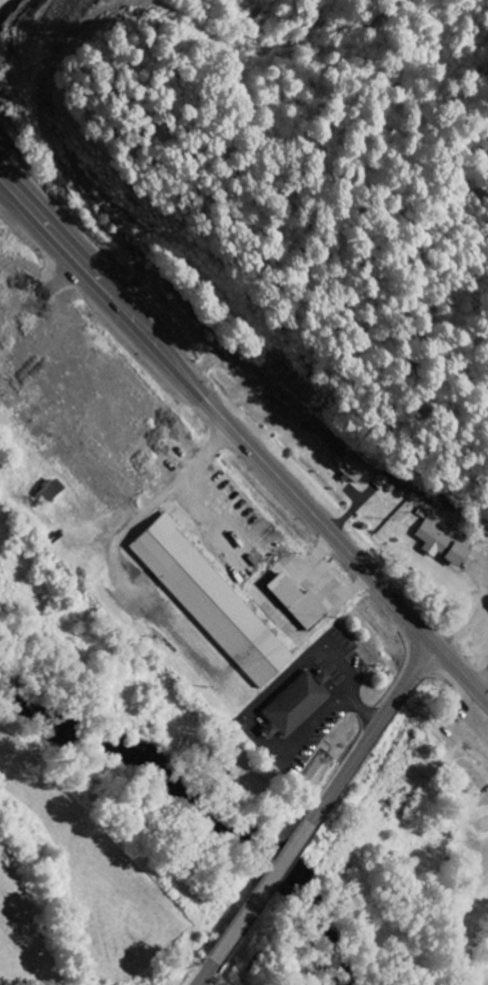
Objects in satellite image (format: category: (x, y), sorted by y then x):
road: (244, 439)
building: (339, 464)
building: (44, 492)
building: (441, 542)
building: (206, 602)
building: (293, 603)
building: (291, 705)
road: (370, 732)
river: (205, 809)
road: (261, 892)
road: (204, 973)

